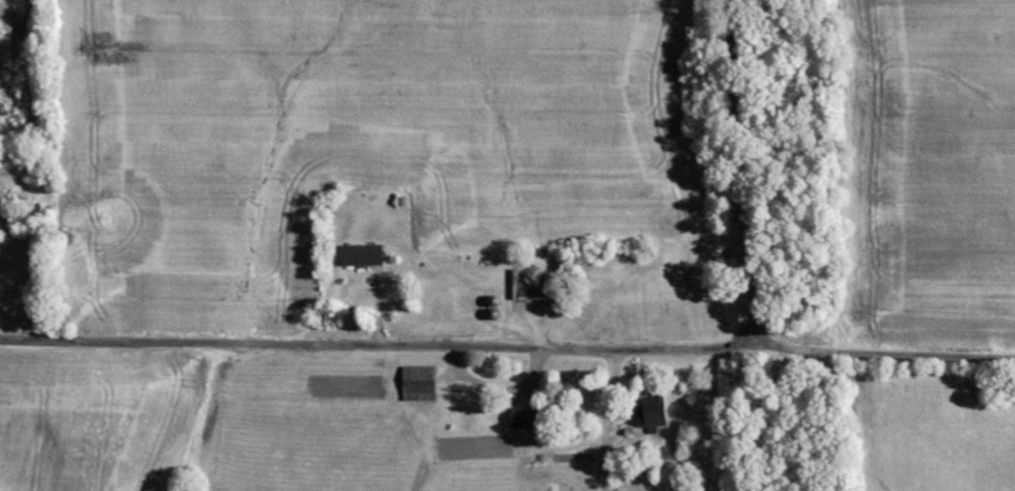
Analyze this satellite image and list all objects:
road: (742, 176)
building: (365, 256)
building: (535, 288)
road: (749, 329)
road: (507, 346)
building: (421, 384)
building: (528, 419)

